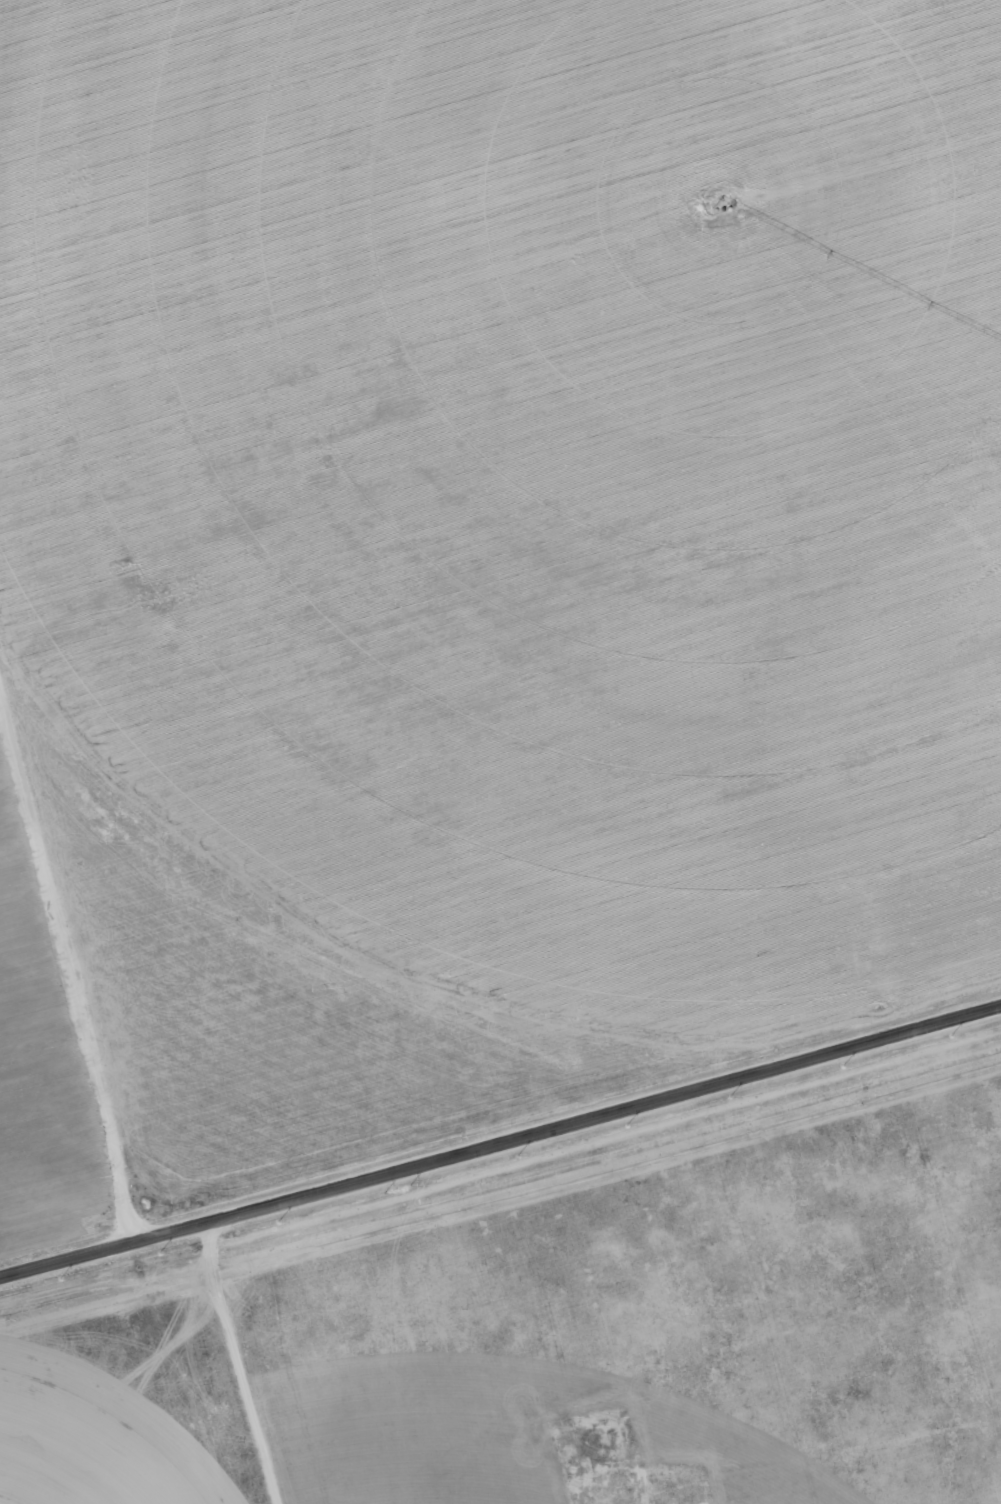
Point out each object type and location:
road: (600, 1111)
road: (177, 1225)
road: (77, 1248)
road: (239, 1363)

